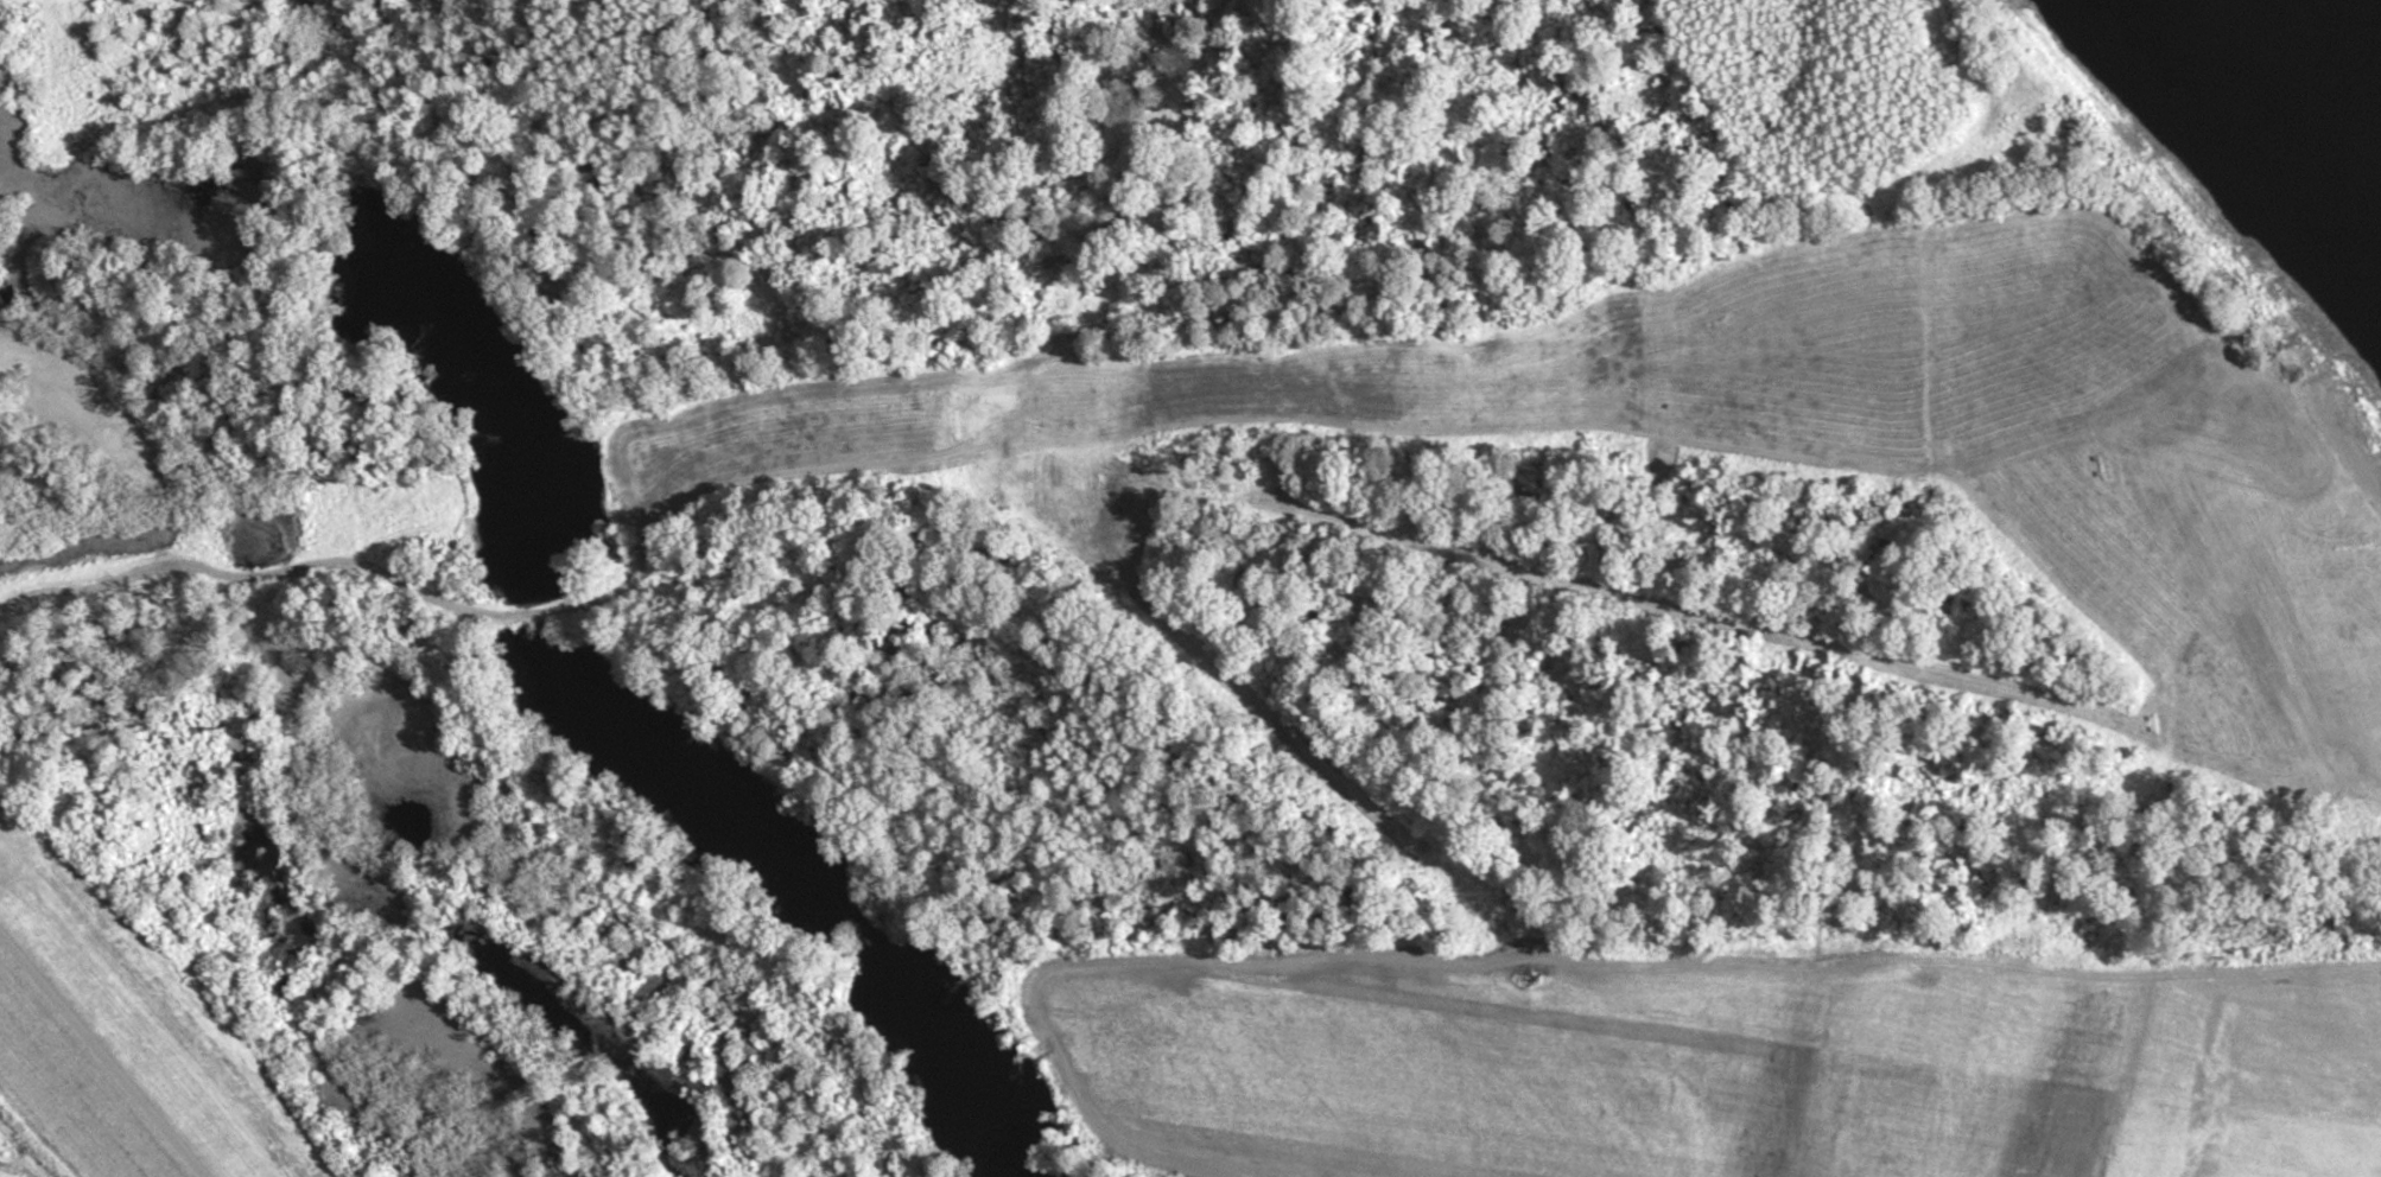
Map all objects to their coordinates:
road: (159, 568)
road: (101, 1055)

